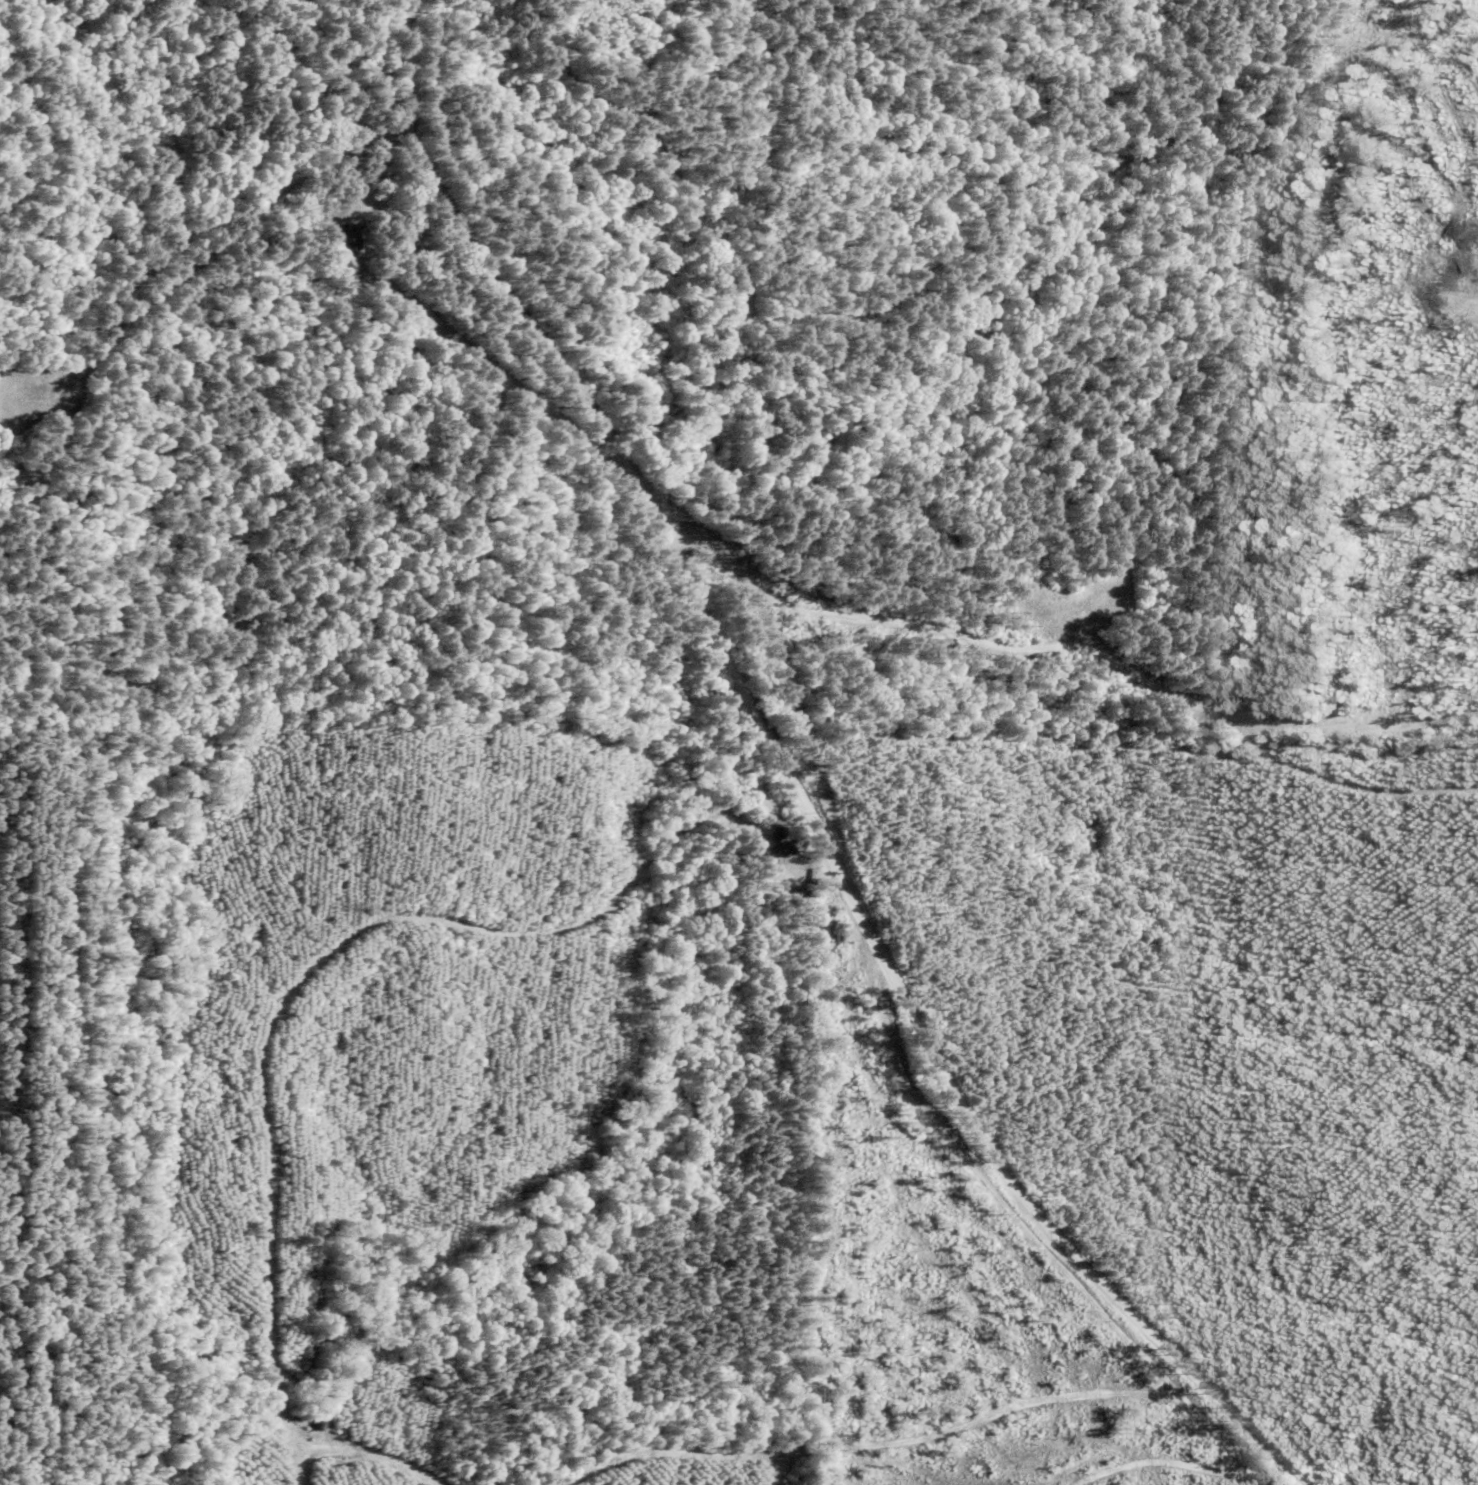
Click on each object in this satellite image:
building: (351, 238)
road: (545, 368)
road: (1115, 801)
road: (979, 1131)
road: (1141, 1480)

